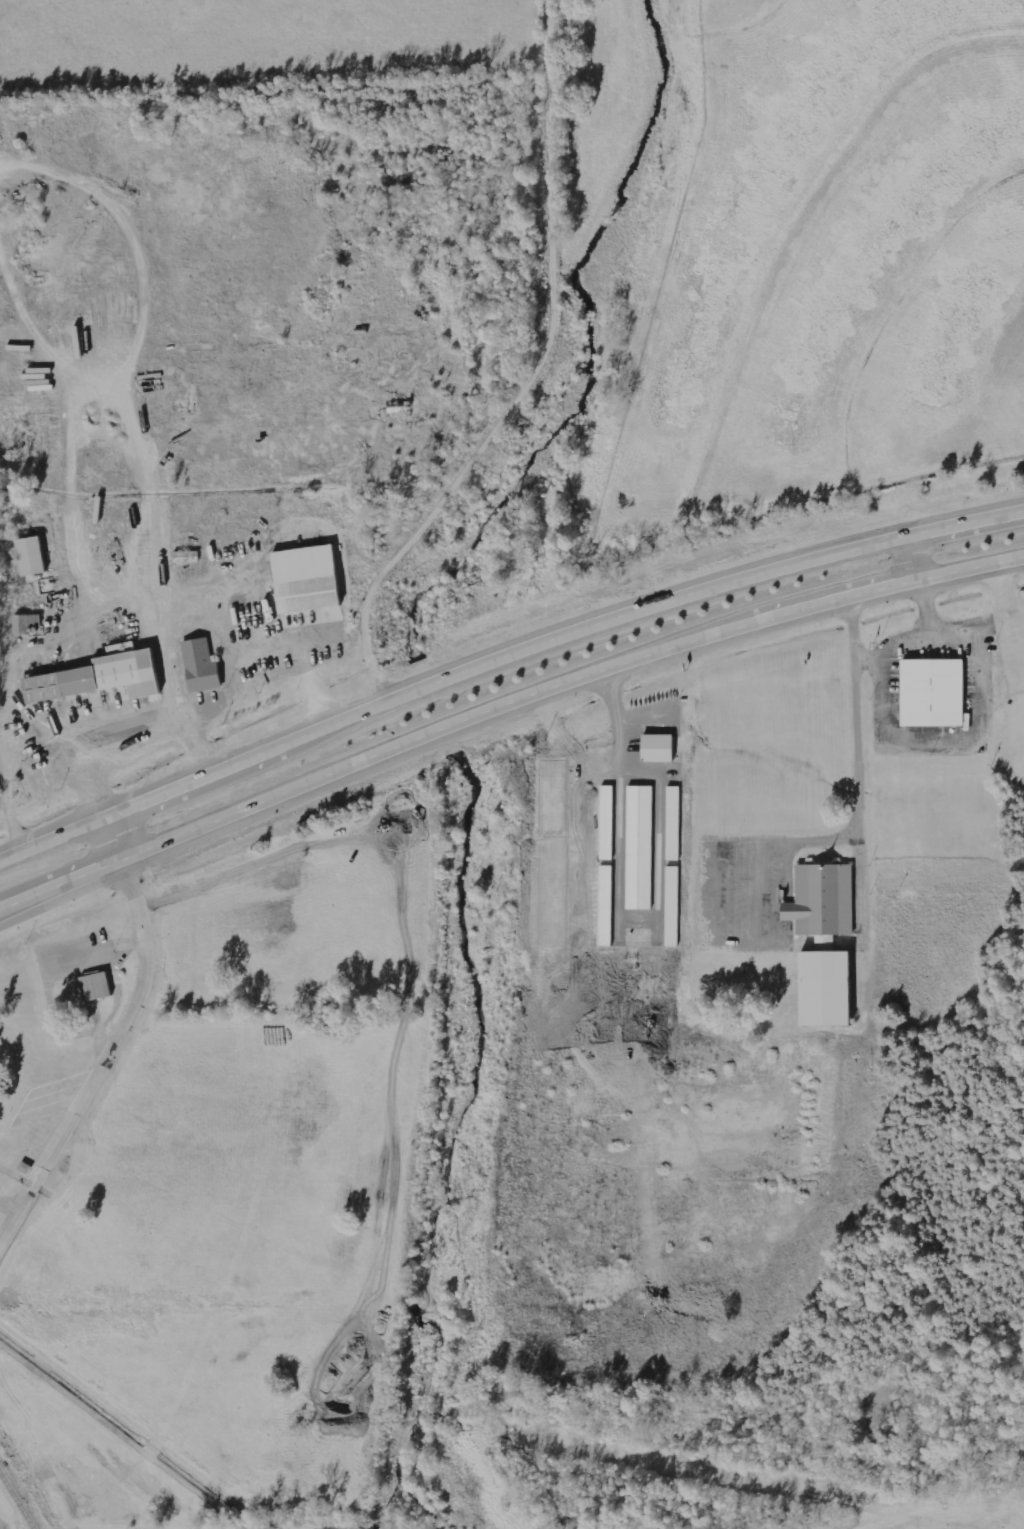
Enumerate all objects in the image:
road: (910, 551)
building: (31, 556)
building: (303, 580)
building: (27, 624)
road: (503, 651)
building: (198, 667)
building: (96, 679)
building: (930, 694)
road: (215, 701)
road: (502, 704)
road: (856, 739)
road: (195, 745)
building: (656, 747)
building: (673, 821)
building: (606, 822)
building: (638, 846)
building: (605, 904)
building: (672, 904)
building: (821, 943)
building: (94, 986)
road: (127, 1038)
road: (14, 1195)
railway: (15, 1502)

